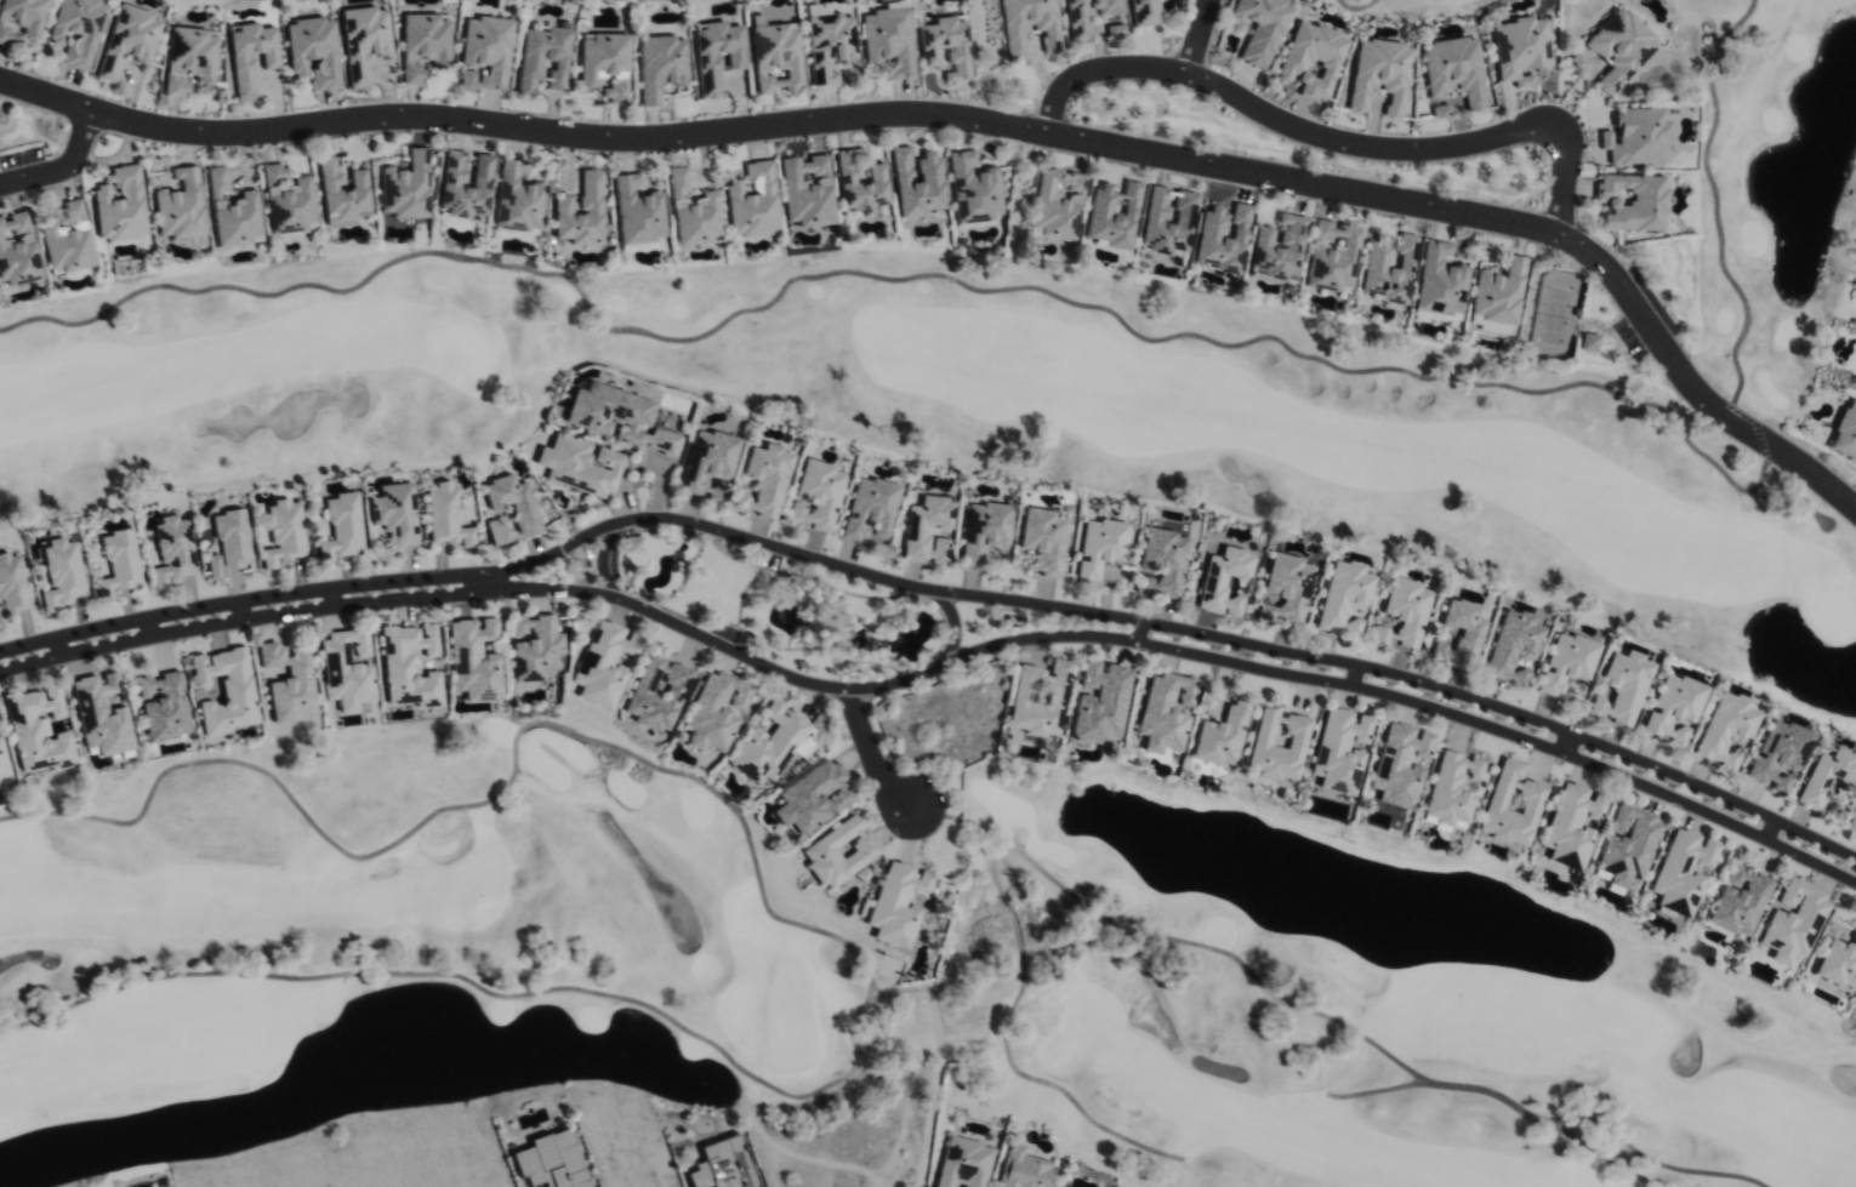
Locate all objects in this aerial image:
park: (655, 0)
park: (244, 1)
park: (1414, 7)
building: (1143, 12)
building: (1087, 15)
building: (21, 19)
building: (1027, 24)
building: (1259, 27)
building: (79, 30)
building: (888, 38)
road: (1196, 38)
building: (130, 40)
building: (366, 41)
building: (945, 45)
building: (1521, 48)
building: (1618, 48)
building: (317, 51)
building: (486, 52)
building: (716, 55)
building: (775, 55)
building: (254, 56)
building: (602, 56)
building: (543, 57)
building: (1311, 58)
building: (660, 65)
building: (1453, 69)
building: (1379, 74)
building: (178, 86)
building: (614, 91)
road: (983, 121)
building: (1638, 136)
road: (1331, 141)
road: (62, 169)
building: (859, 182)
building: (916, 182)
building: (466, 184)
building: (807, 189)
building: (972, 189)
building: (517, 199)
building: (290, 200)
building: (753, 200)
building: (1632, 200)
building: (1057, 204)
building: (121, 205)
building: (182, 206)
building: (74, 211)
building: (580, 211)
building: (693, 211)
building: (234, 212)
building: (638, 212)
building: (1112, 215)
building: (1222, 238)
building: (68, 249)
building: (1277, 250)
building: (18, 251)
building: (1332, 256)
building: (1387, 269)
building: (1439, 280)
building: (1497, 292)
building: (1589, 342)
park: (1082, 384)
building: (617, 416)
building: (1845, 432)
building: (706, 462)
building: (577, 464)
building: (761, 480)
building: (813, 495)
building: (866, 508)
building: (395, 513)
building: (524, 514)
building: (446, 515)
building: (341, 527)
building: (926, 530)
building: (981, 531)
building: (283, 533)
building: (1042, 538)
building: (228, 542)
building: (631, 543)
building: (1097, 546)
building: (173, 550)
road: (603, 559)
building: (1158, 561)
building: (121, 563)
building: (63, 572)
building: (1220, 580)
road: (488, 583)
building: (12, 587)
building: (1282, 588)
road: (935, 590)
road: (332, 598)
building: (1340, 598)
road: (241, 612)
building: (1402, 612)
building: (1463, 624)
road: (951, 626)
road: (1139, 633)
building: (1513, 645)
building: (534, 646)
road: (58, 647)
building: (473, 658)
building: (1567, 662)
building: (602, 663)
road: (935, 666)
building: (409, 667)
building: (346, 669)
road: (1351, 675)
building: (287, 683)
building: (1623, 686)
building: (224, 689)
building: (656, 692)
building: (1037, 698)
building: (1097, 702)
building: (165, 706)
building: (1674, 707)
building: (712, 711)
building: (1161, 711)
building: (103, 714)
building: (1725, 727)
building: (40, 730)
building: (1218, 736)
building: (775, 742)
building: (1274, 743)
road: (1567, 744)
building: (1337, 749)
road: (869, 754)
building: (1777, 754)
building: (4, 764)
building: (1397, 764)
building: (1824, 776)
building: (1448, 788)
building: (812, 797)
building: (1509, 805)
building: (1852, 818)
building: (1570, 826)
road: (1770, 831)
building: (1627, 845)
building: (837, 852)
building: (1683, 871)
building: (1740, 901)
building: (895, 903)
building: (1793, 921)
building: (1838, 963)
park: (855, 977)
building: (550, 1162)
building: (962, 1163)
building: (722, 1165)
building: (1020, 1169)

